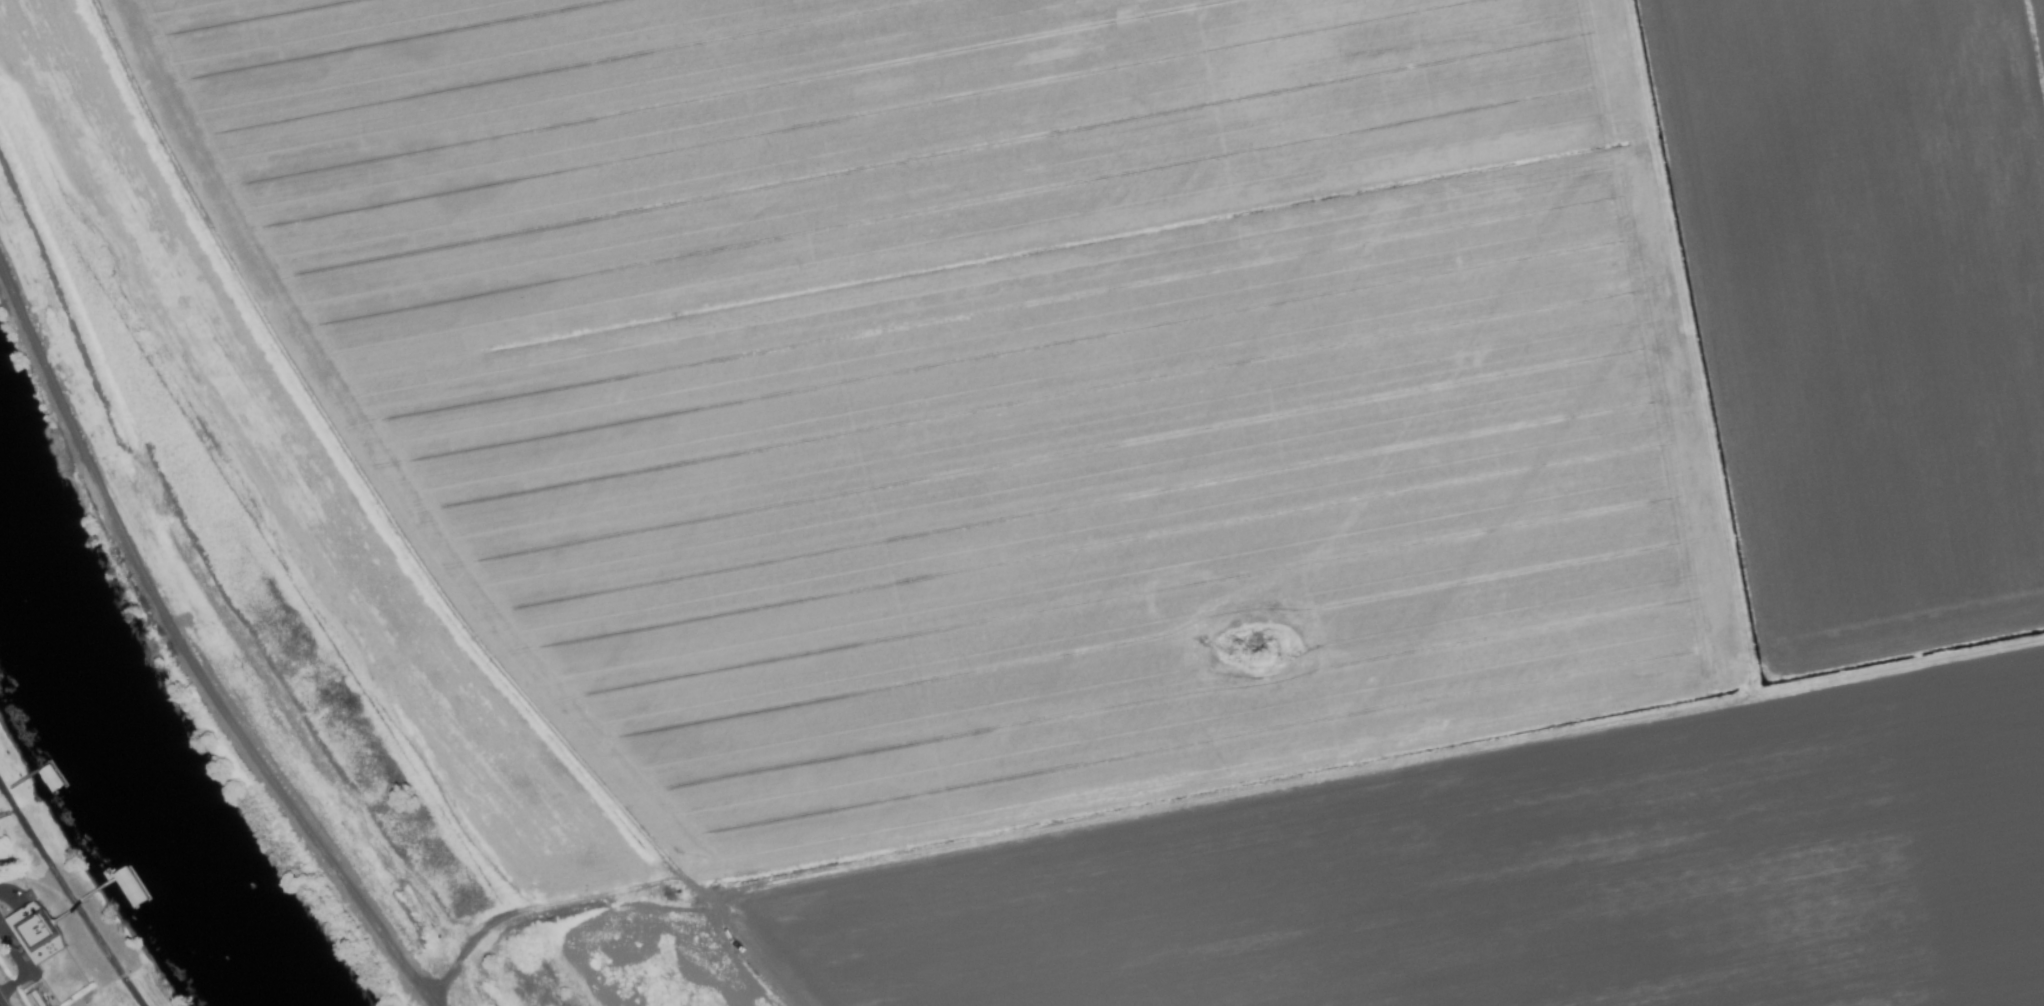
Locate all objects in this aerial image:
crop: (1094, 482)
road: (69, 897)
crop: (87, 997)
road: (0, 1004)

